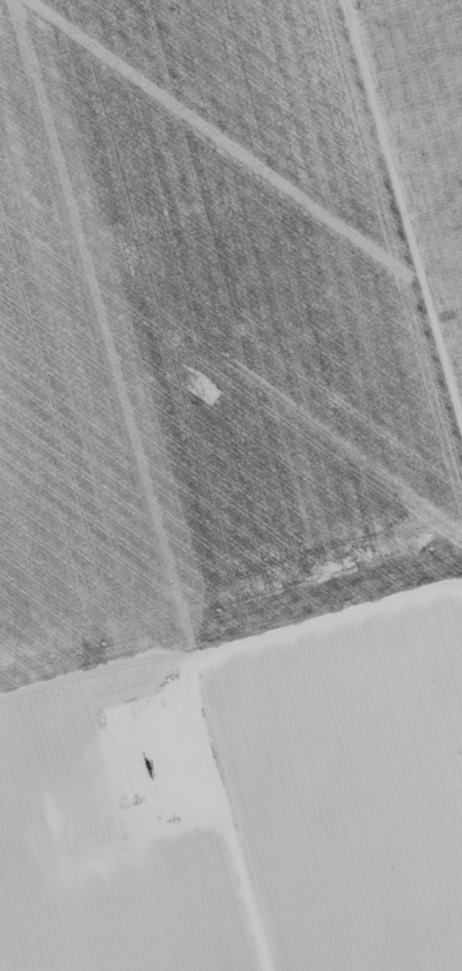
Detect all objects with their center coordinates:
road: (384, 291)
road: (231, 698)

